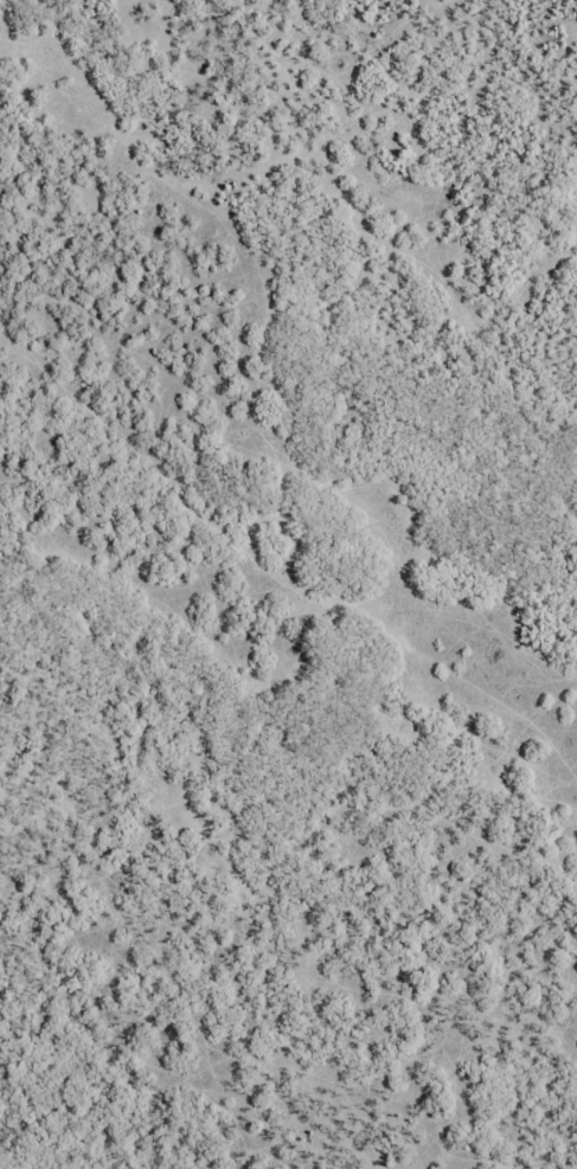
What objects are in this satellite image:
road: (12, 1163)

